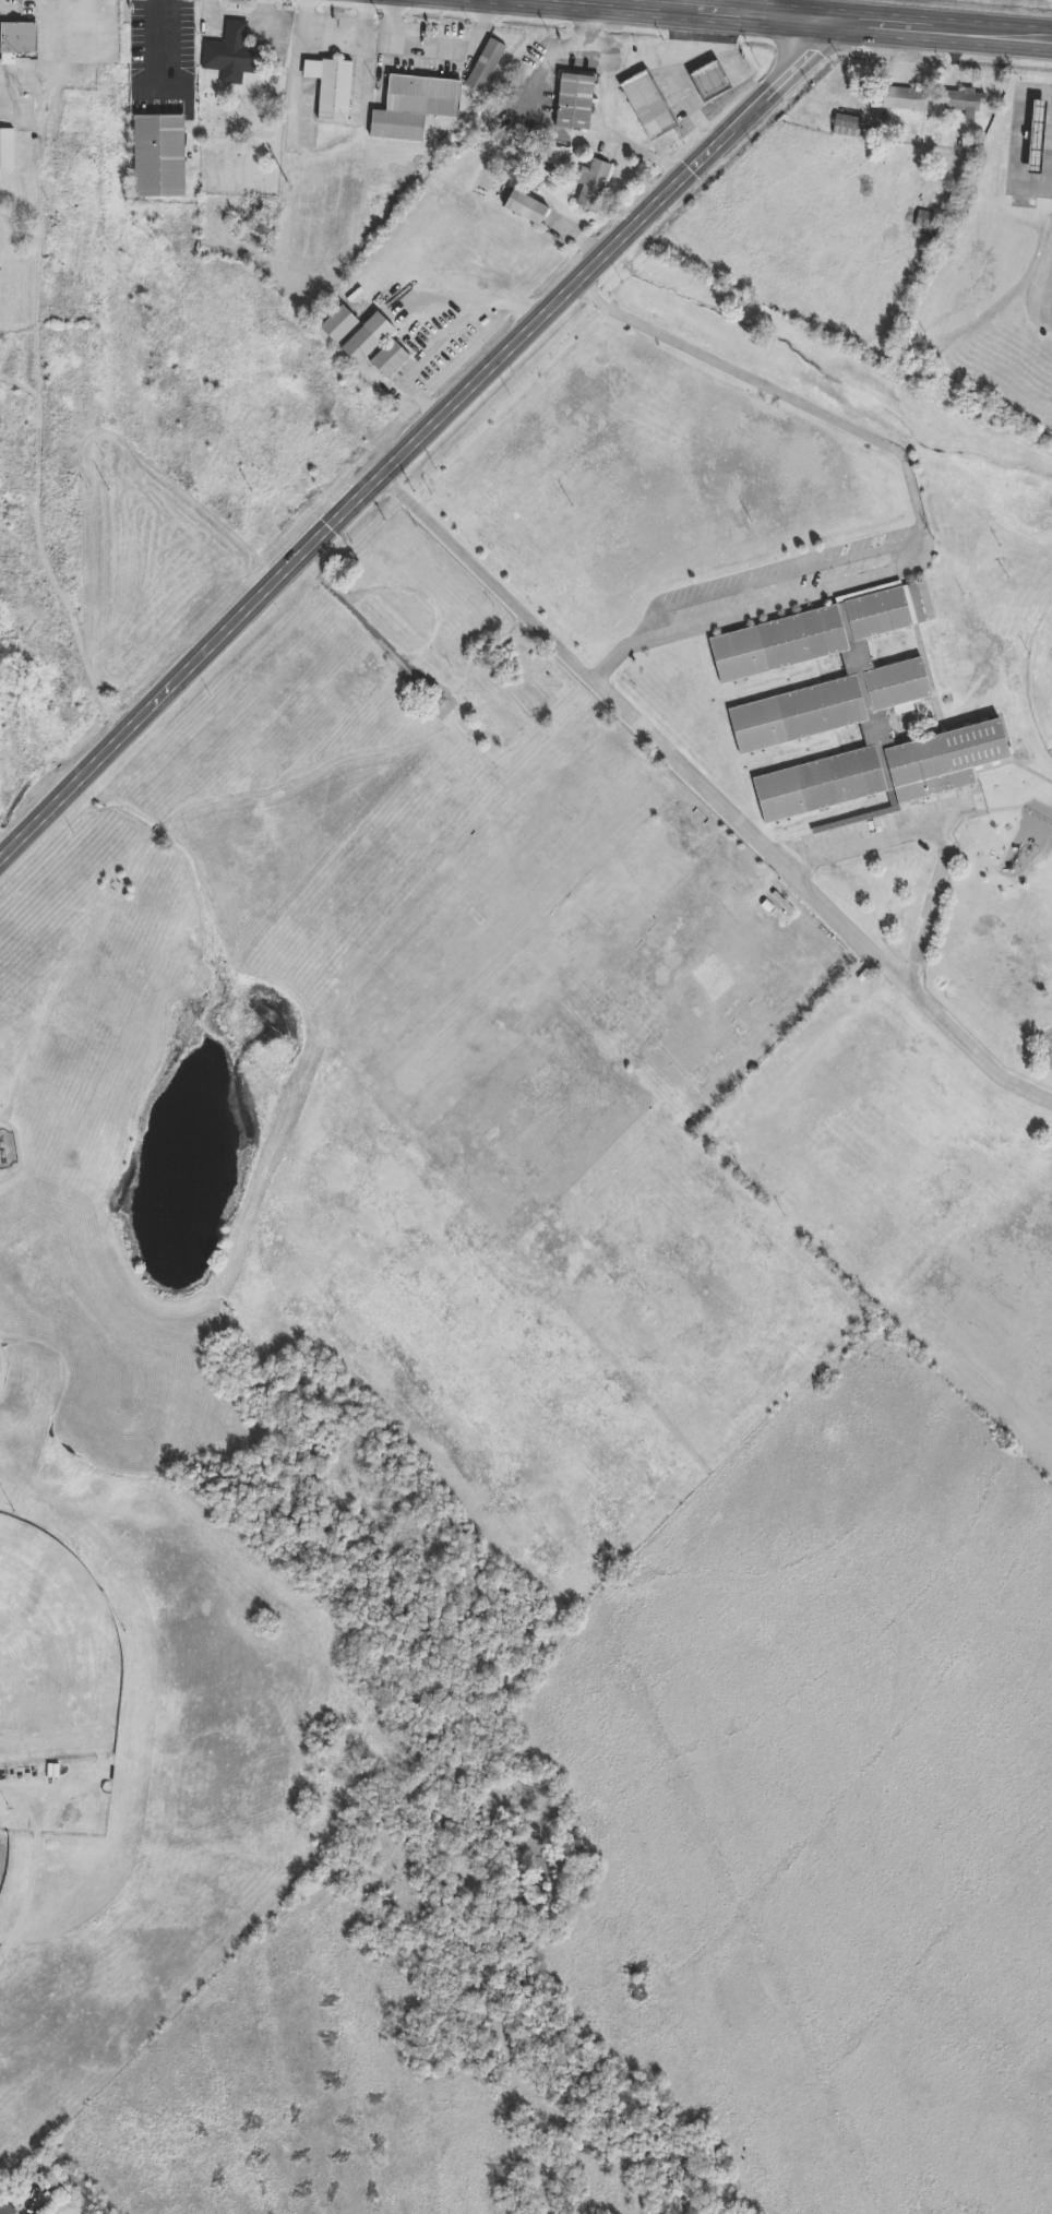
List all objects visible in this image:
road: (28, 1)
road: (92, 2)
road: (85, 3)
road: (764, 8)
road: (802, 17)
road: (368, 20)
road: (395, 21)
road: (168, 37)
building: (17, 40)
road: (414, 43)
building: (232, 56)
road: (300, 62)
building: (482, 68)
building: (705, 83)
building: (328, 90)
building: (904, 100)
building: (572, 103)
building: (964, 103)
building: (645, 107)
building: (411, 108)
road: (600, 115)
building: (847, 128)
building: (1035, 133)
gas station: (1035, 133)
road: (1020, 136)
building: (5, 151)
building: (159, 155)
building: (590, 187)
building: (523, 210)
road: (481, 296)
building: (336, 326)
building: (363, 341)
road: (438, 348)
building: (386, 361)
road: (416, 442)
road: (919, 500)
road: (776, 580)
building: (888, 609)
road: (368, 618)
building: (778, 642)
building: (897, 682)
building: (797, 712)
building: (489, 717)
building: (941, 760)
building: (818, 782)
road: (710, 796)
road: (947, 825)
building: (5, 2209)

